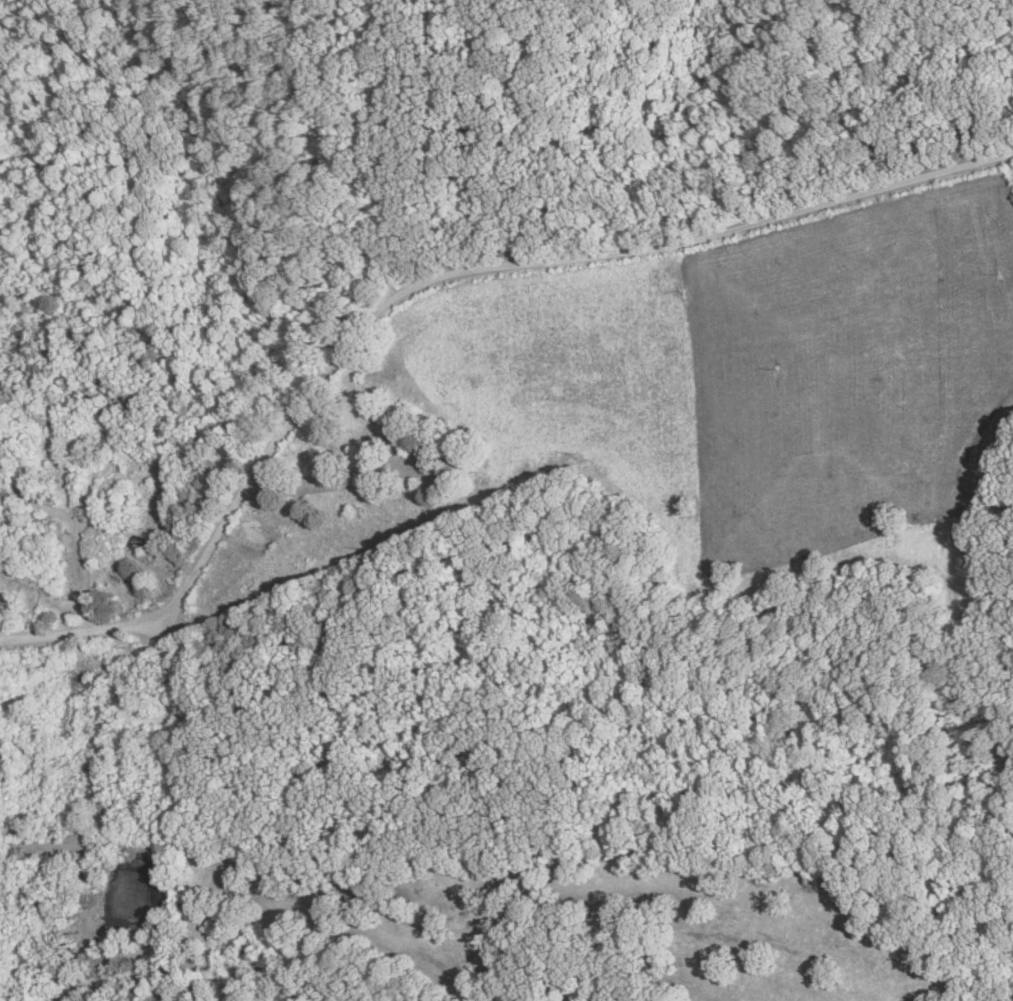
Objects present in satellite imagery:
road: (427, 280)
park: (379, 440)
road: (78, 534)

